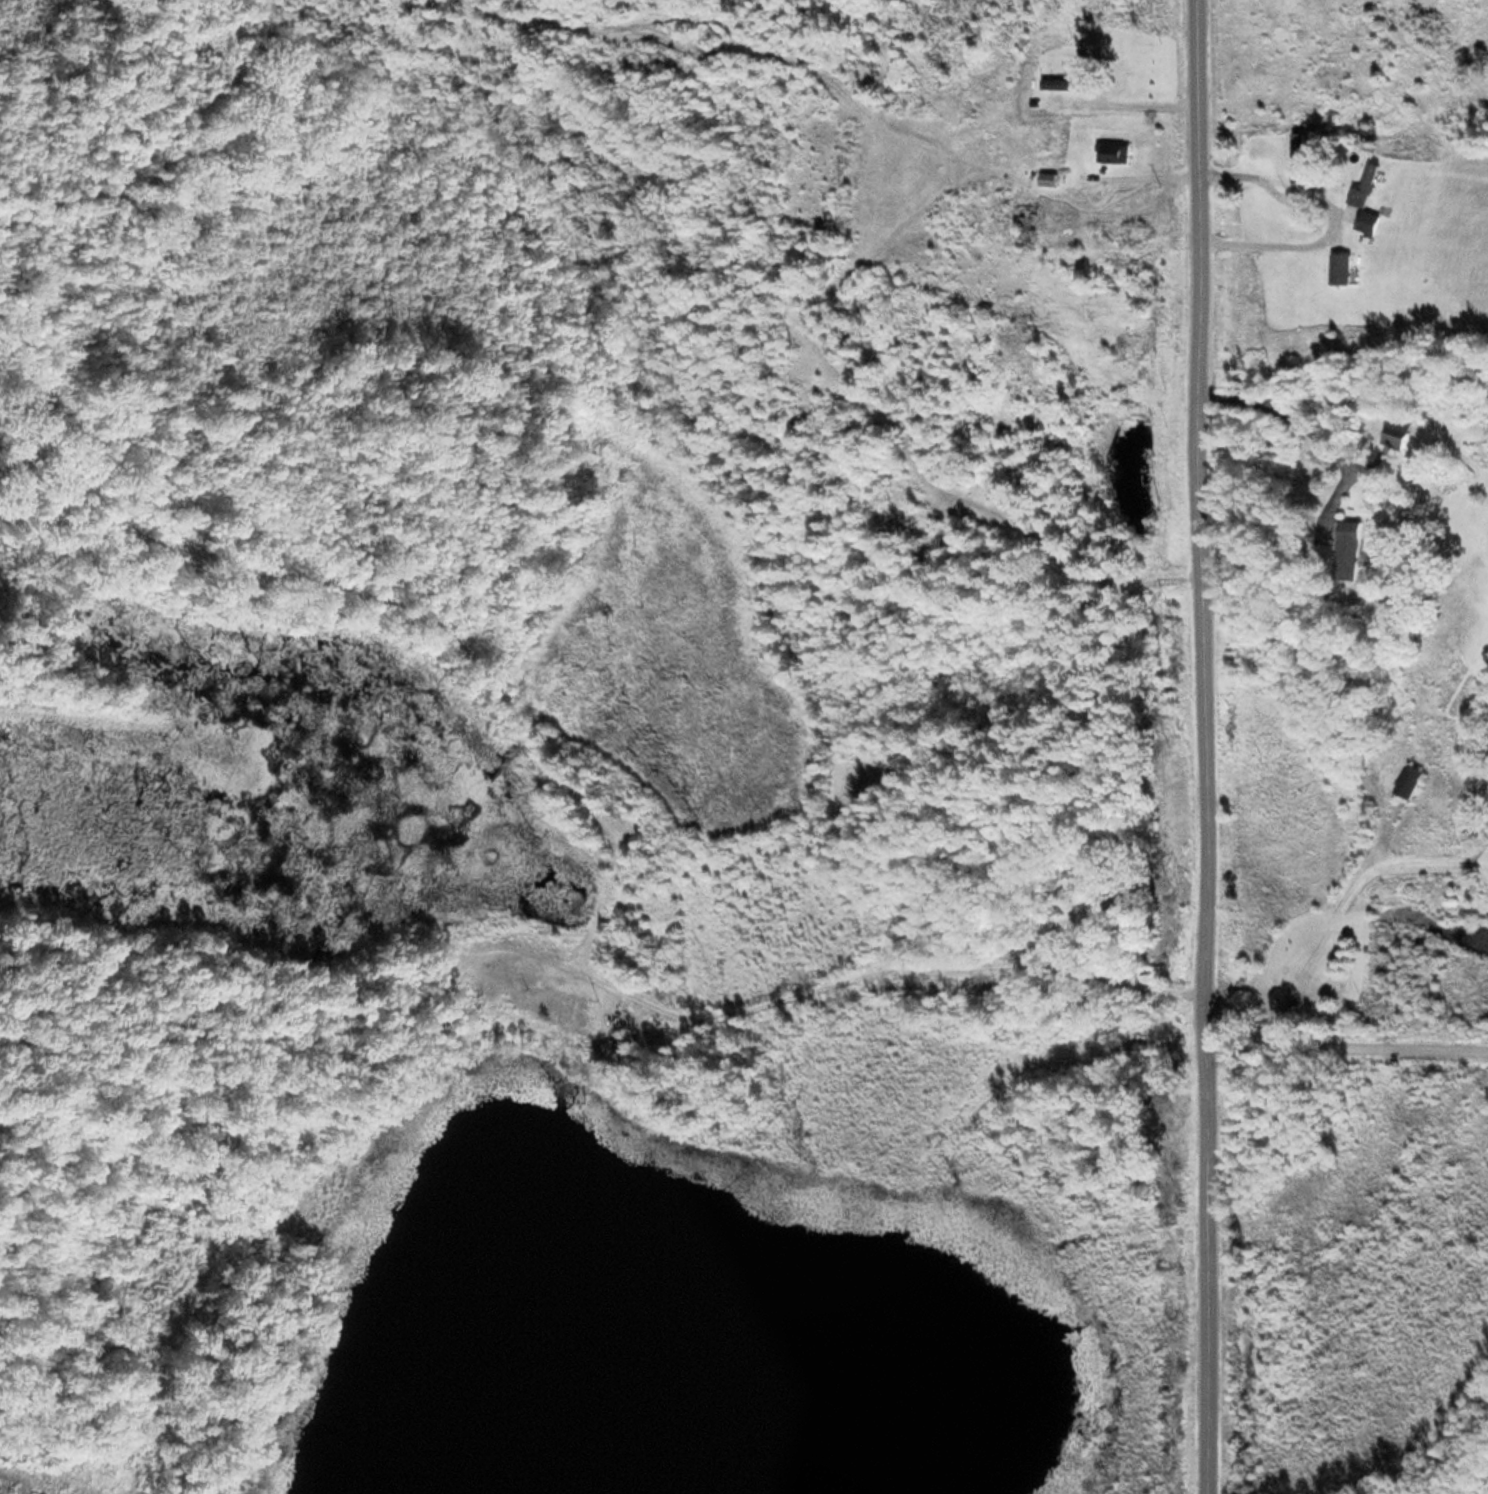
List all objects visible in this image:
building: (1066, 82)
building: (1300, 141)
building: (1118, 153)
building: (1052, 179)
building: (1369, 187)
building: (1027, 220)
building: (1371, 222)
building: (1343, 268)
building: (1397, 432)
building: (1356, 550)
road: (1211, 746)
building: (1409, 783)
road: (1350, 1040)

